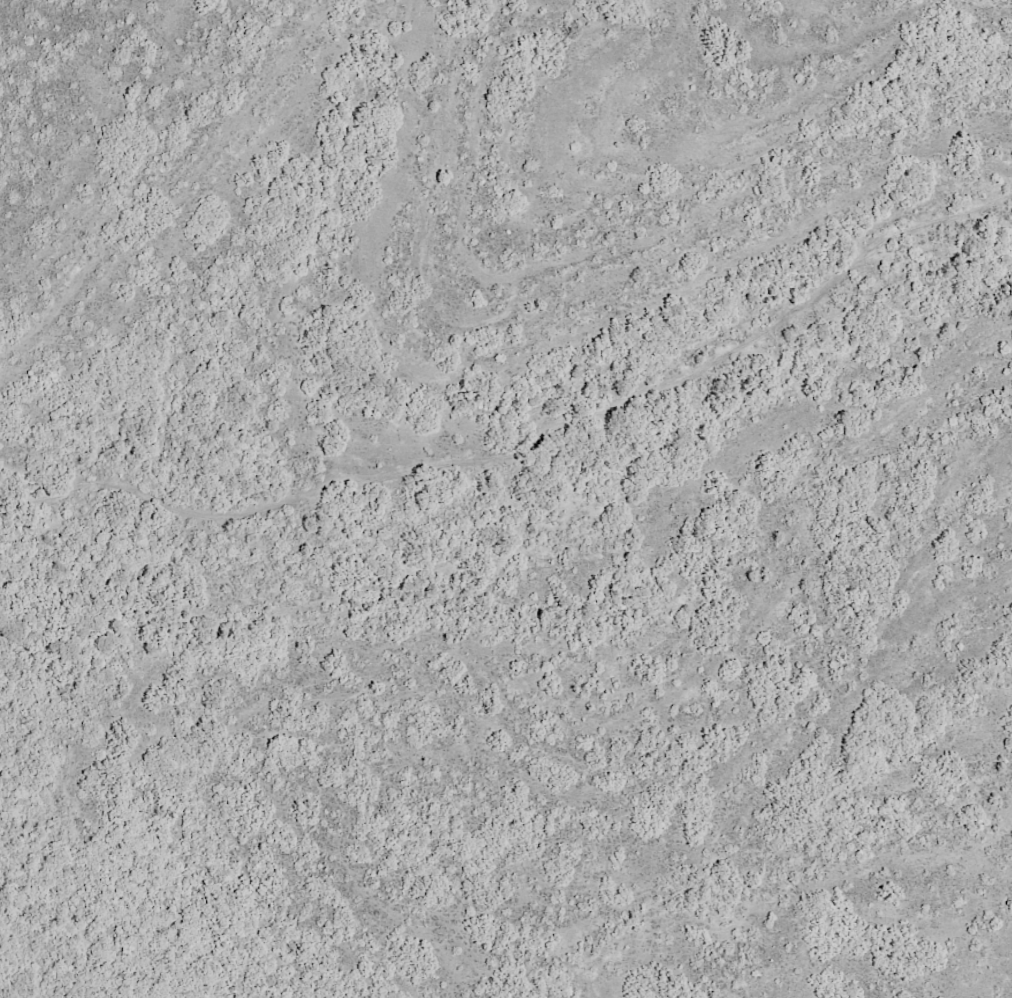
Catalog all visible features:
road: (528, 500)
road: (131, 758)

